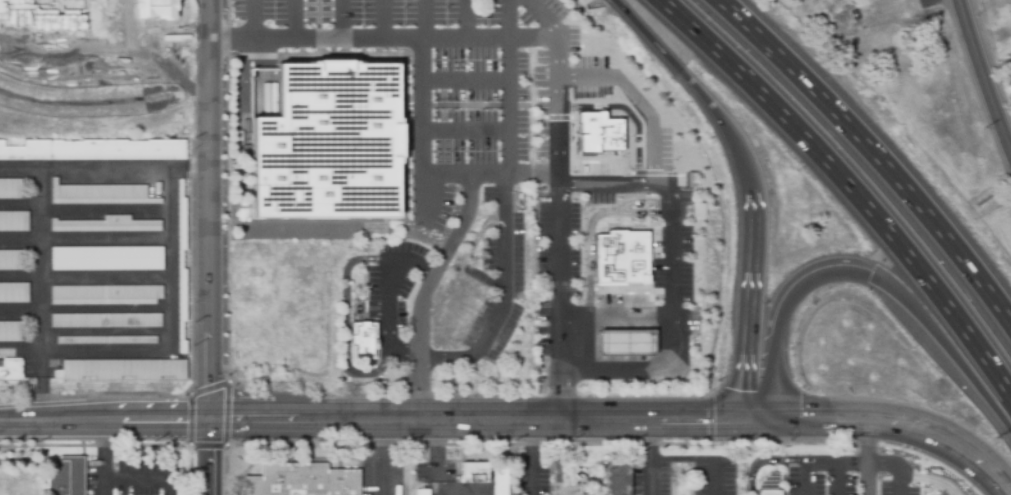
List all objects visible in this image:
road: (817, 2)
building: (154, 8)
building: (43, 14)
road: (249, 21)
road: (287, 21)
road: (340, 21)
road: (384, 22)
road: (422, 22)
road: (465, 22)
road: (511, 22)
road: (515, 43)
road: (405, 44)
road: (985, 74)
road: (468, 83)
road: (701, 90)
road: (636, 102)
road: (511, 107)
road: (466, 130)
building: (596, 132)
building: (325, 144)
parking lot: (518, 148)
building: (94, 151)
road: (876, 151)
road: (847, 186)
building: (11, 189)
building: (101, 195)
road: (83, 208)
building: (698, 209)
building: (14, 222)
building: (107, 226)
road: (557, 231)
road: (83, 239)
road: (166, 239)
road: (214, 247)
road: (672, 253)
building: (619, 256)
building: (110, 260)
building: (11, 261)
road: (806, 276)
road: (83, 278)
road: (505, 278)
road: (427, 291)
building: (14, 294)
road: (385, 294)
building: (106, 295)
road: (754, 309)
road: (82, 310)
building: (107, 321)
road: (345, 323)
building: (11, 332)
road: (948, 337)
building: (361, 340)
building: (107, 341)
building: (628, 343)
road: (19, 351)
building: (123, 370)
building: (11, 371)
road: (643, 374)
road: (773, 377)
road: (40, 386)
traffic signals: (750, 392)
road: (702, 419)
traffic signals: (706, 419)
road: (323, 420)
traffic signals: (799, 420)
road: (814, 420)
road: (948, 442)
road: (646, 456)
road: (382, 457)
road: (530, 457)
road: (94, 458)
road: (871, 459)
road: (697, 461)
road: (764, 461)
road: (838, 462)
road: (898, 467)
building: (474, 474)
building: (65, 476)
parking lot: (686, 478)
road: (805, 478)
road: (837, 478)
road: (139, 479)
parking lot: (531, 479)
building: (563, 479)
building: (616, 479)
road: (929, 480)
building: (302, 481)
building: (501, 483)
building: (769, 486)
building: (422, 492)

